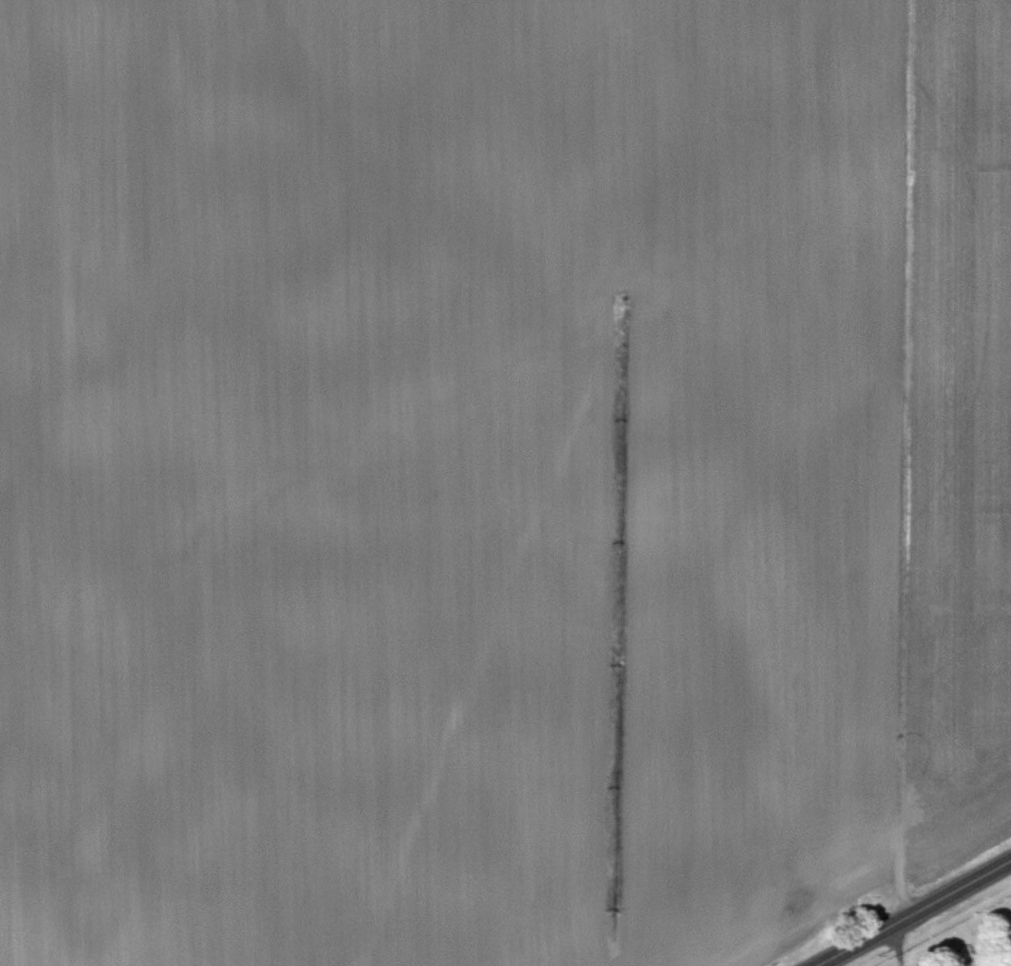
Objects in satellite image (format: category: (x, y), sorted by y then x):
road: (914, 913)

